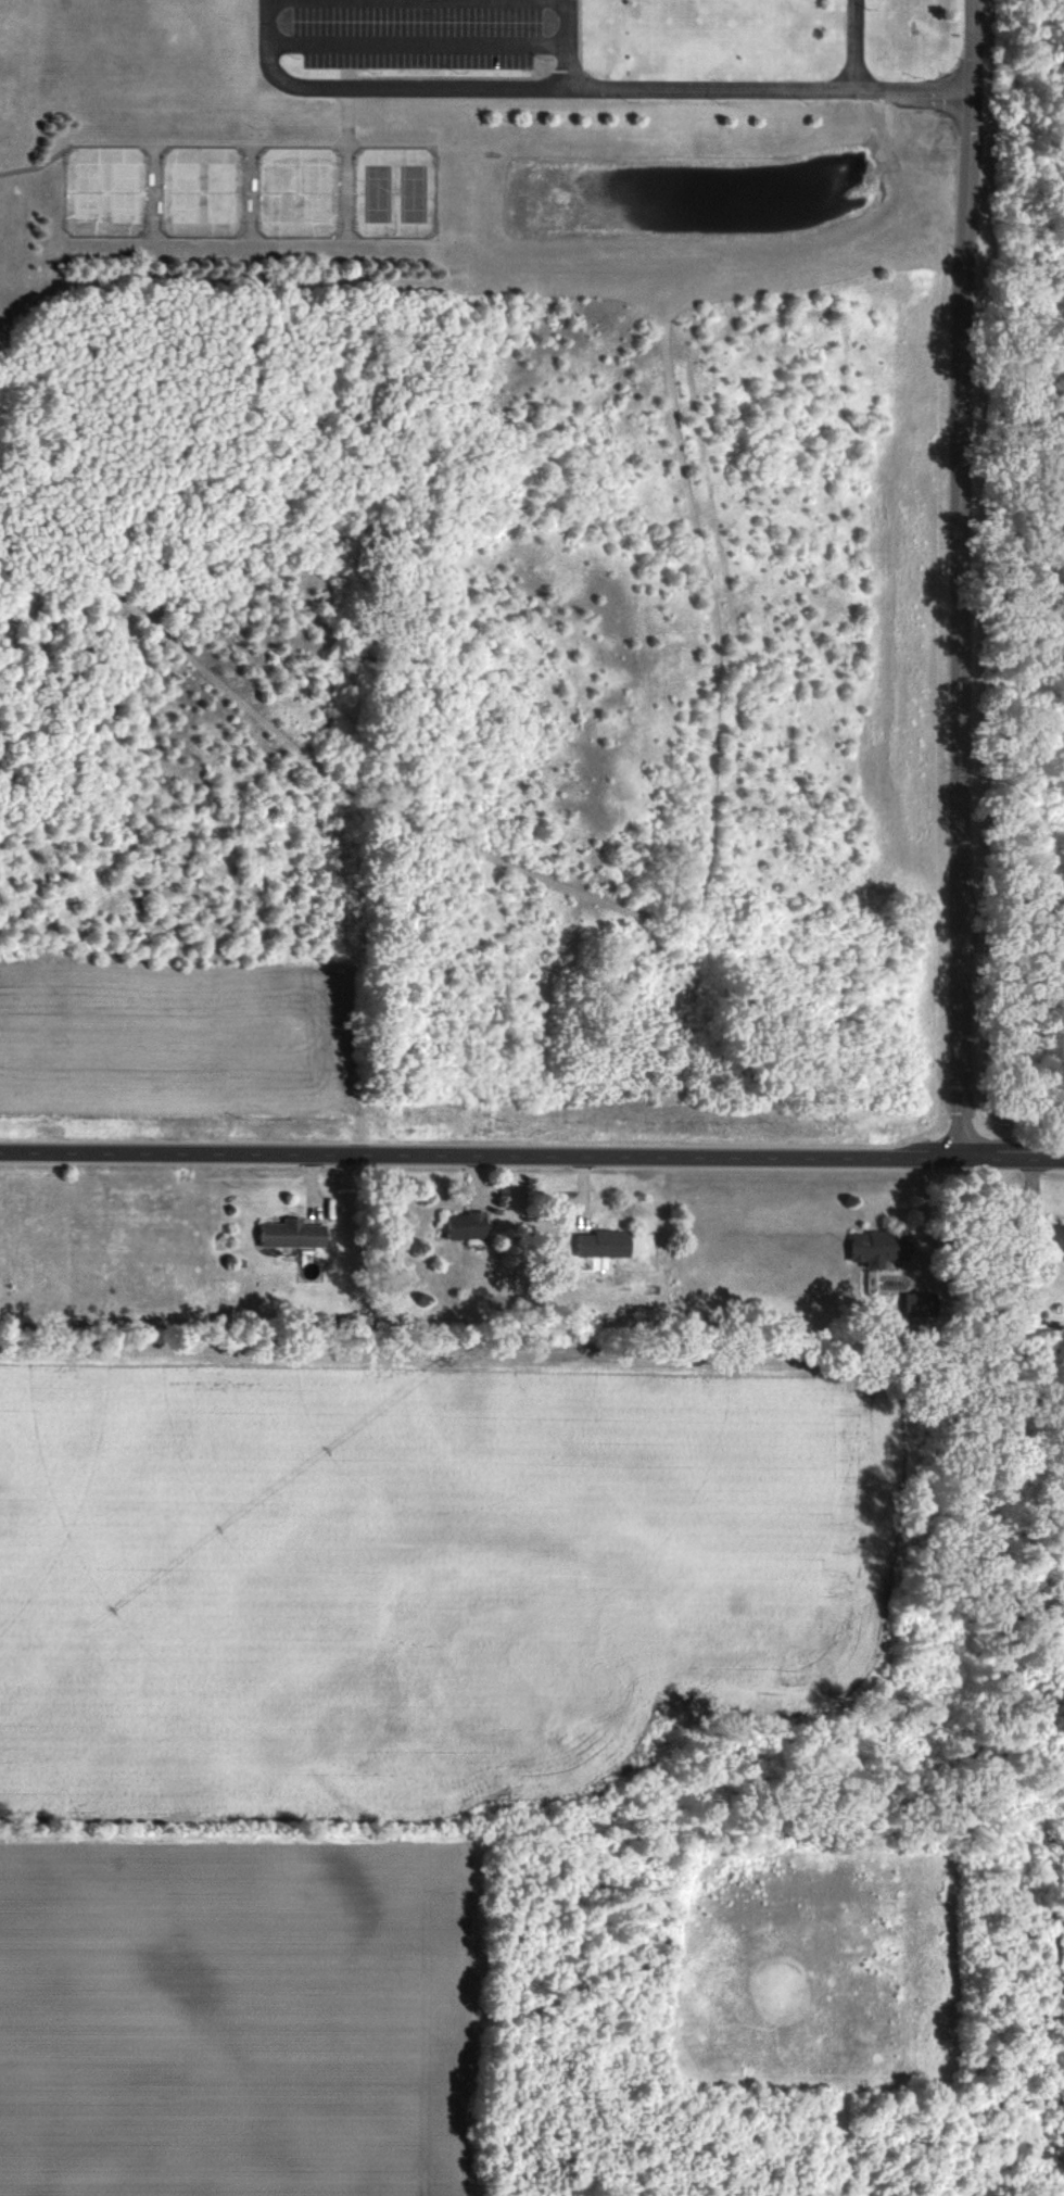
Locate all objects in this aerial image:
road: (418, 45)
road: (568, 45)
road: (857, 46)
road: (382, 89)
road: (764, 91)
park: (107, 192)
park: (204, 192)
park: (301, 192)
park: (397, 193)
road: (1006, 200)
road: (963, 579)
park: (1016, 590)
road: (532, 1157)
building: (467, 1228)
building: (294, 1236)
building: (605, 1247)
building: (882, 1248)
building: (921, 1310)

